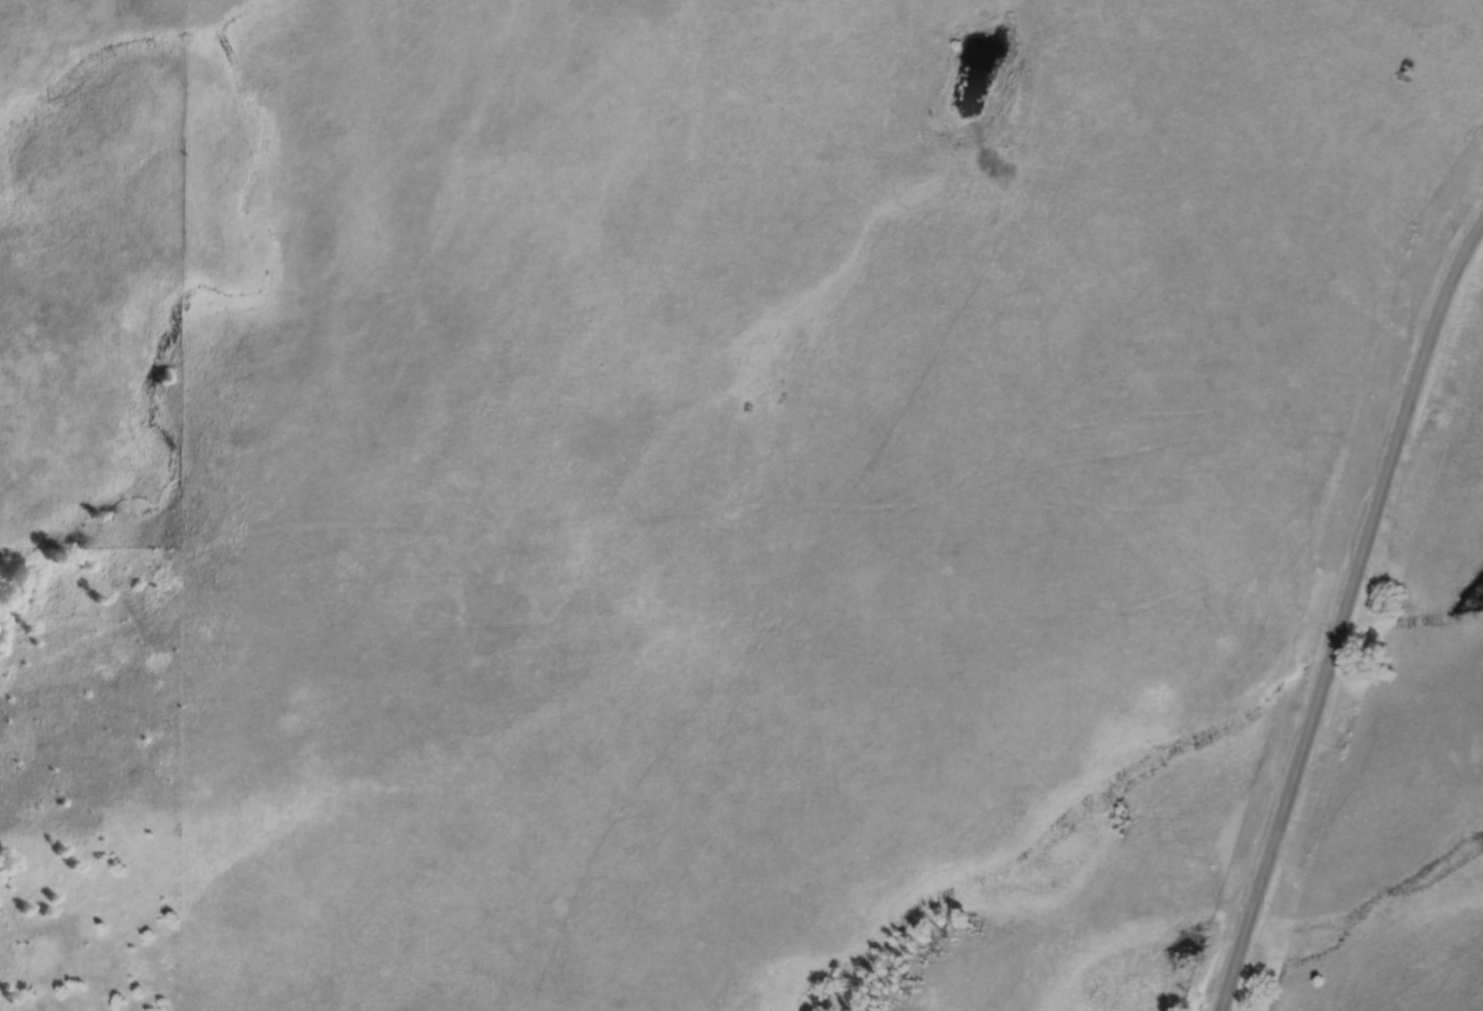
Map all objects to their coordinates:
road: (1389, 428)
road: (1263, 835)

